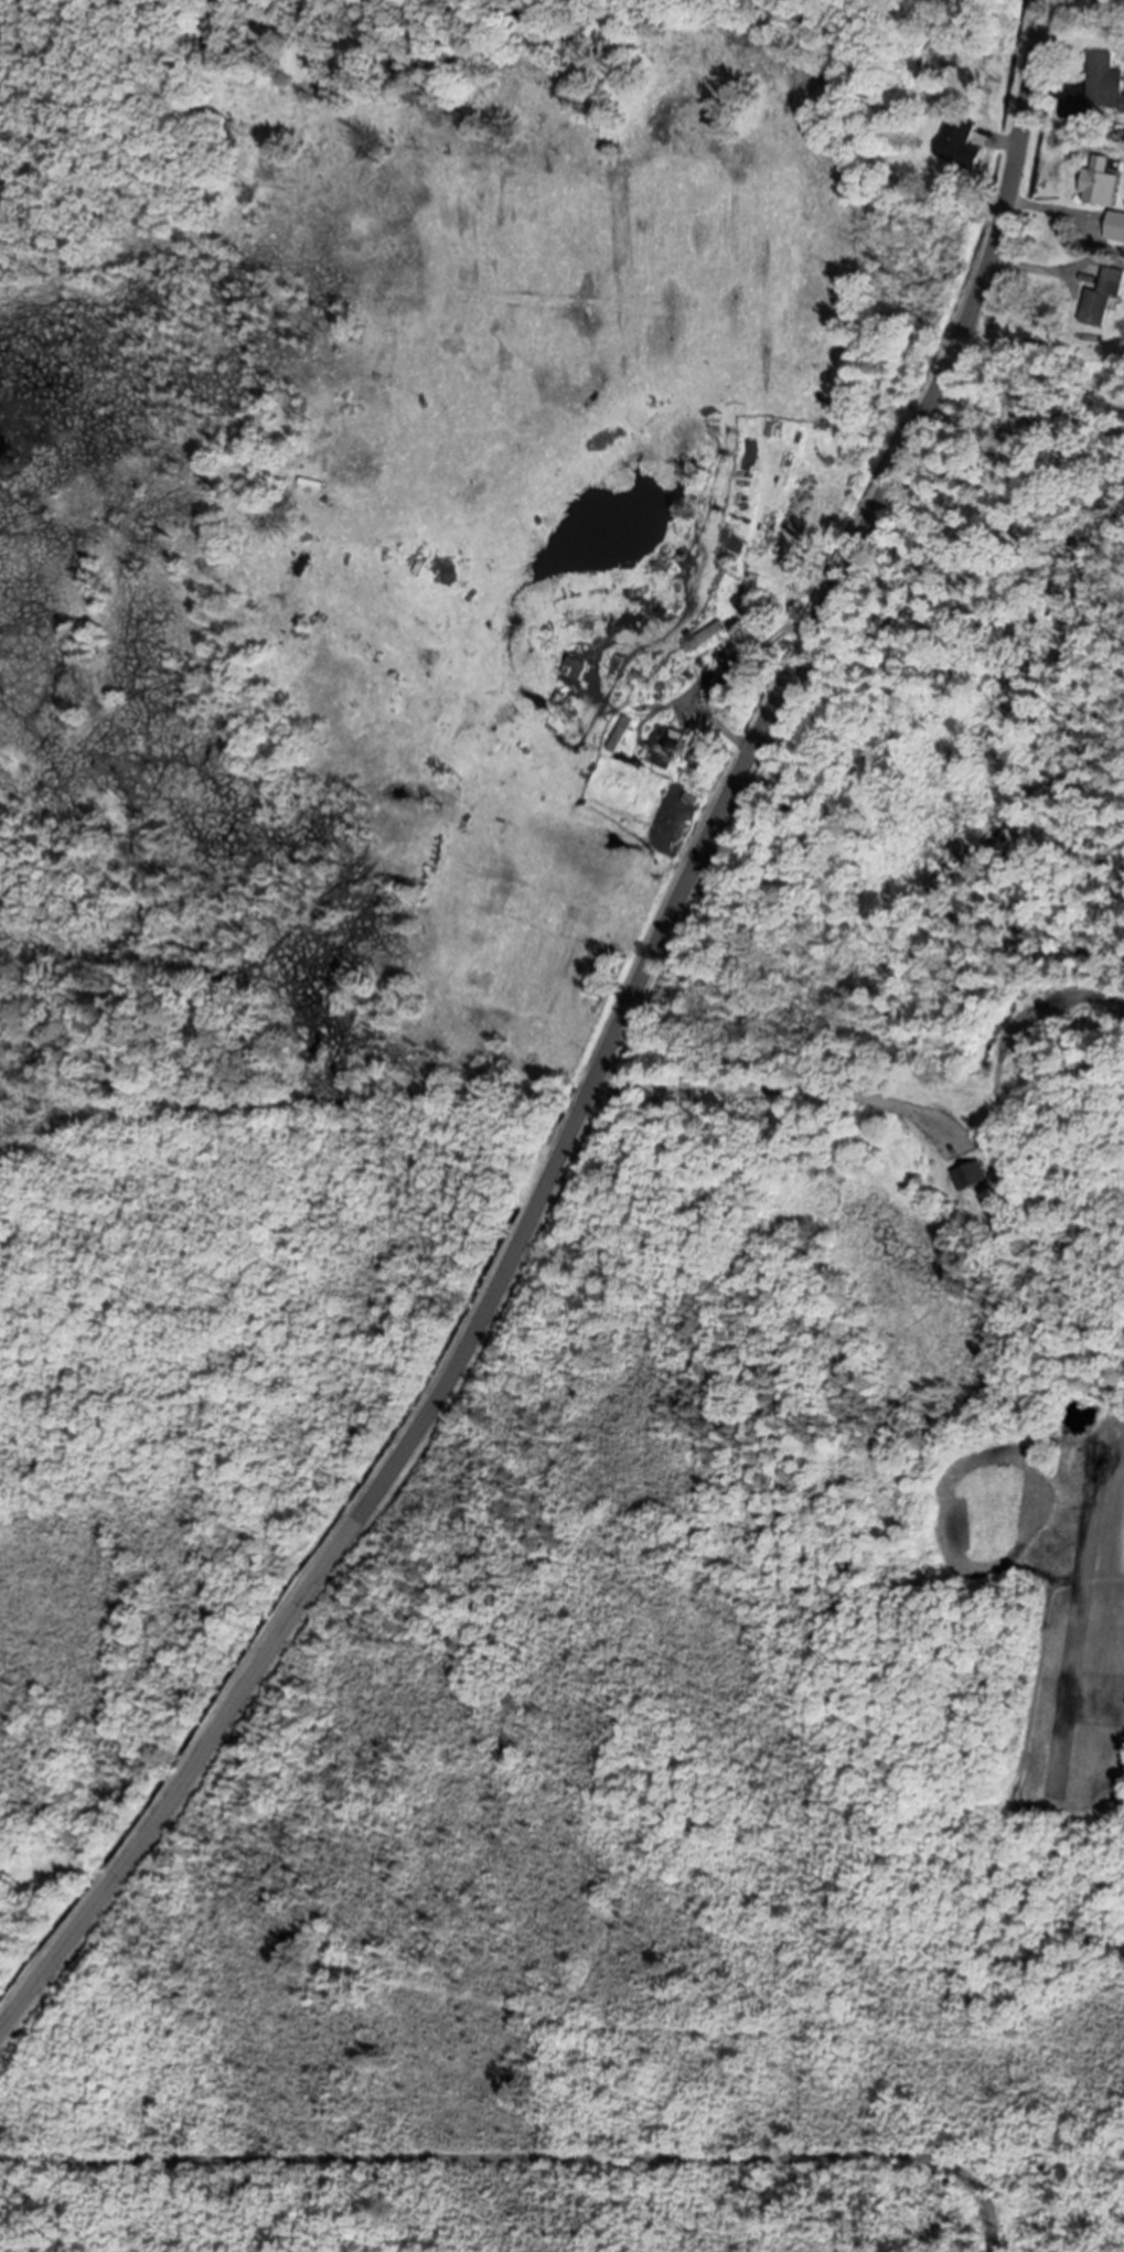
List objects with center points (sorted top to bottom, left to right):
building: (1103, 83)
building: (956, 146)
building: (1096, 183)
building: (704, 635)
building: (574, 667)
building: (665, 740)
road: (604, 1050)
building: (970, 1176)
road: (527, 2156)

